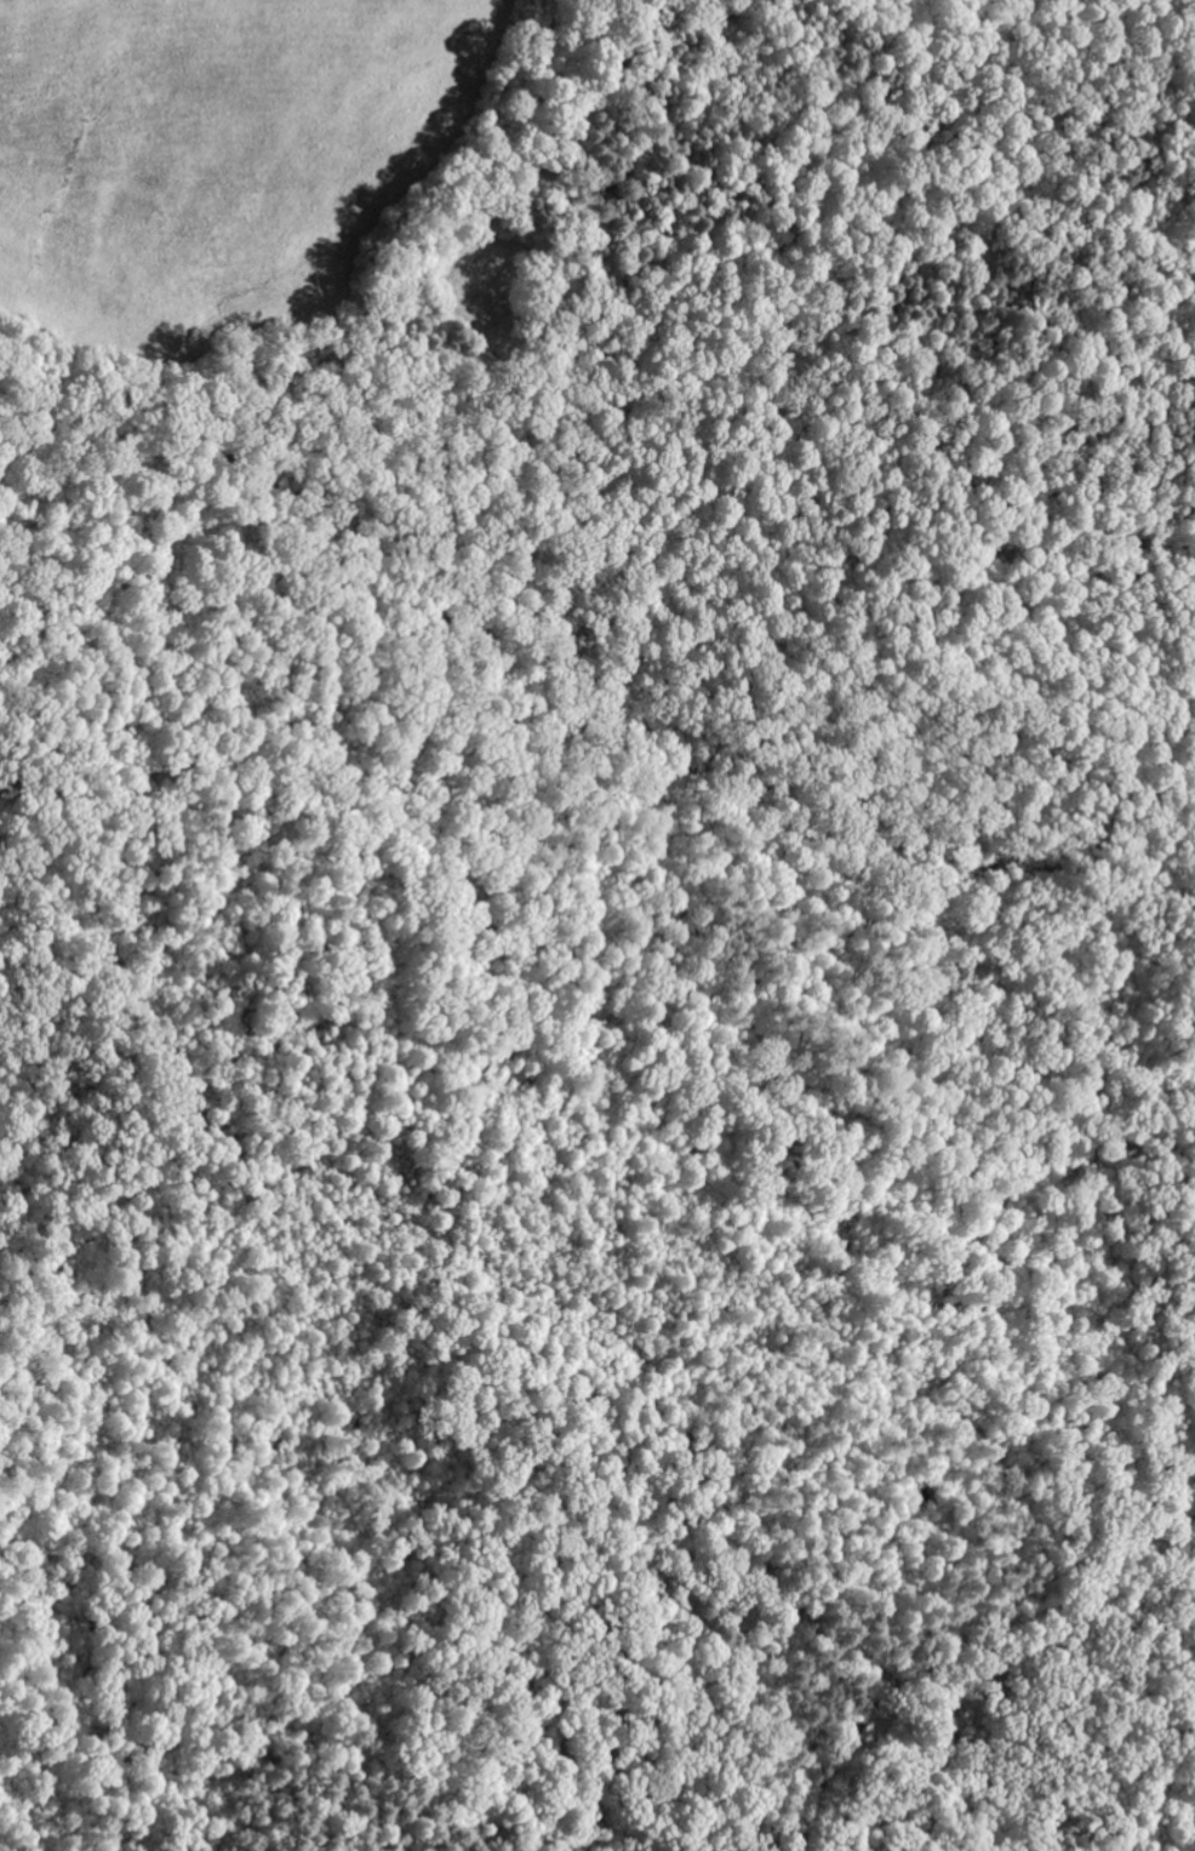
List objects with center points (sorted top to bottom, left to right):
road: (924, 1635)

